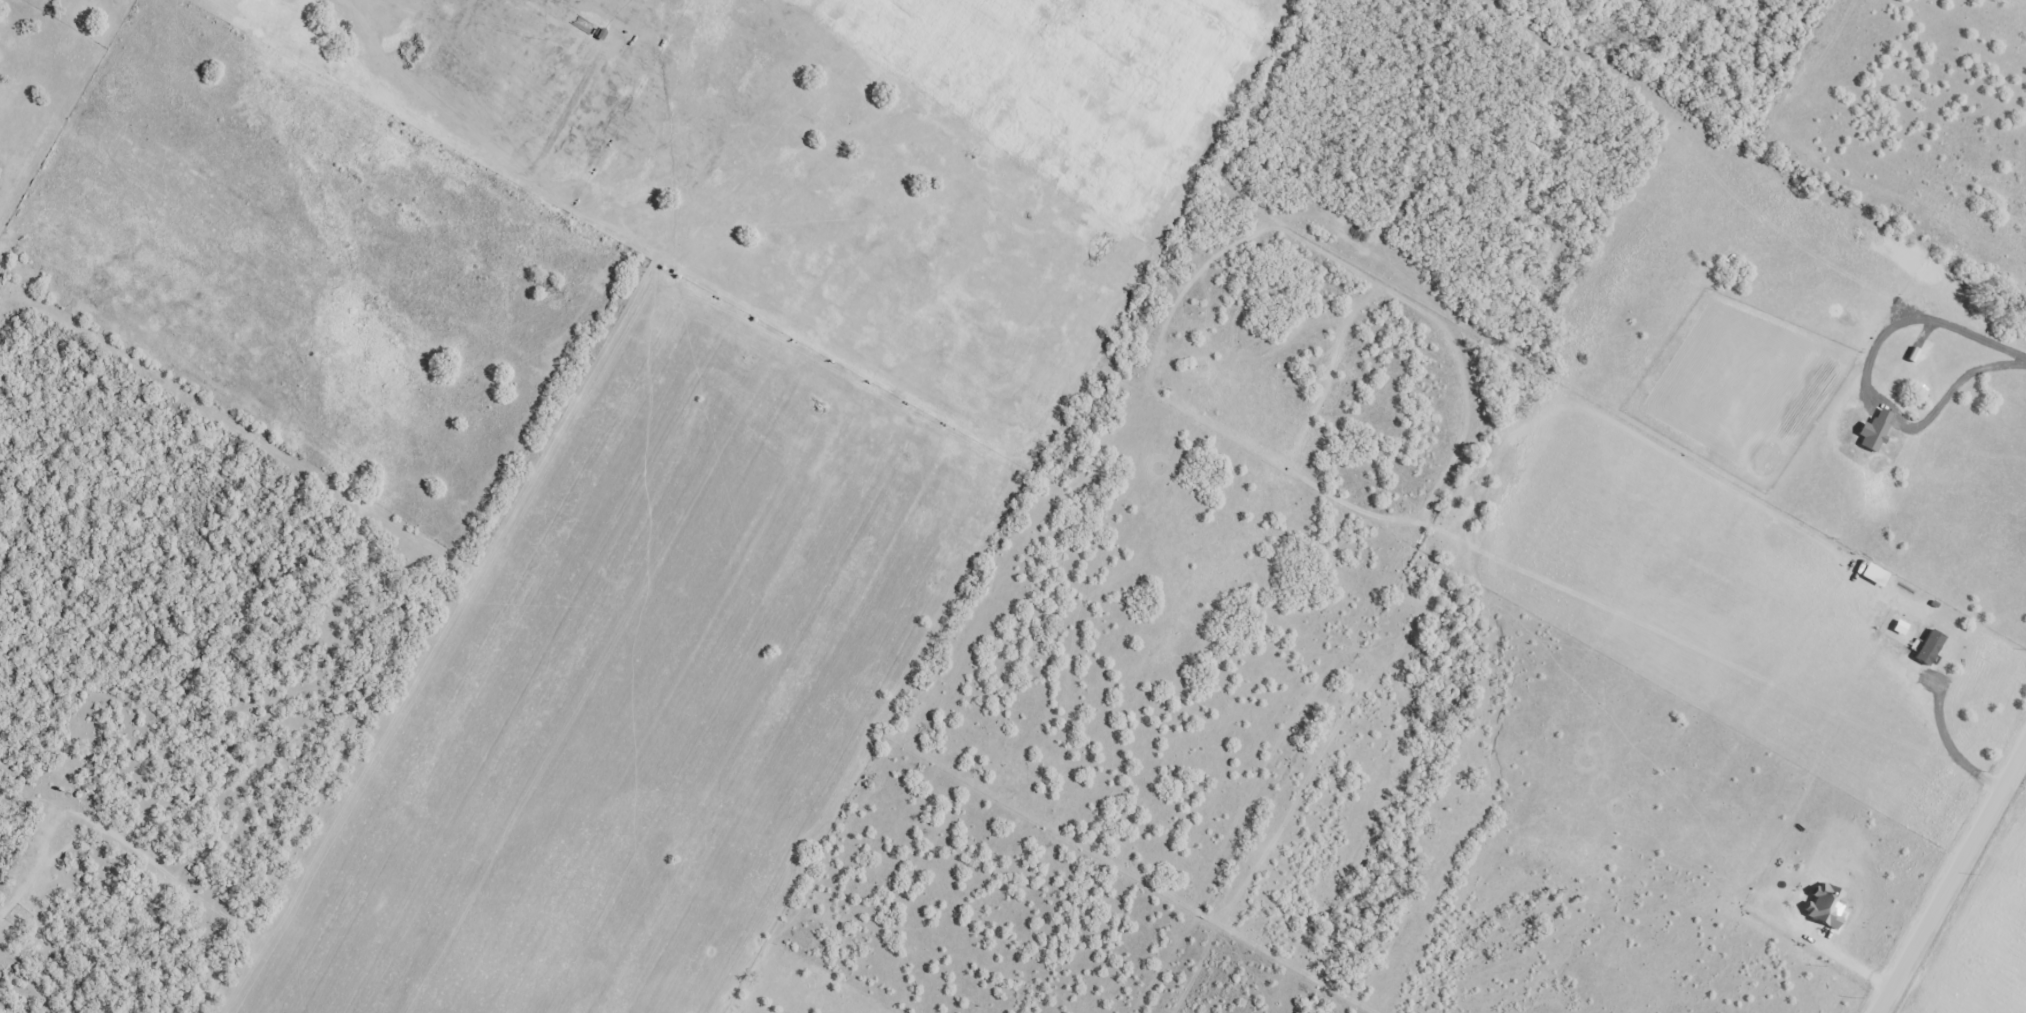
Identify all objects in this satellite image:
road: (1950, 877)

